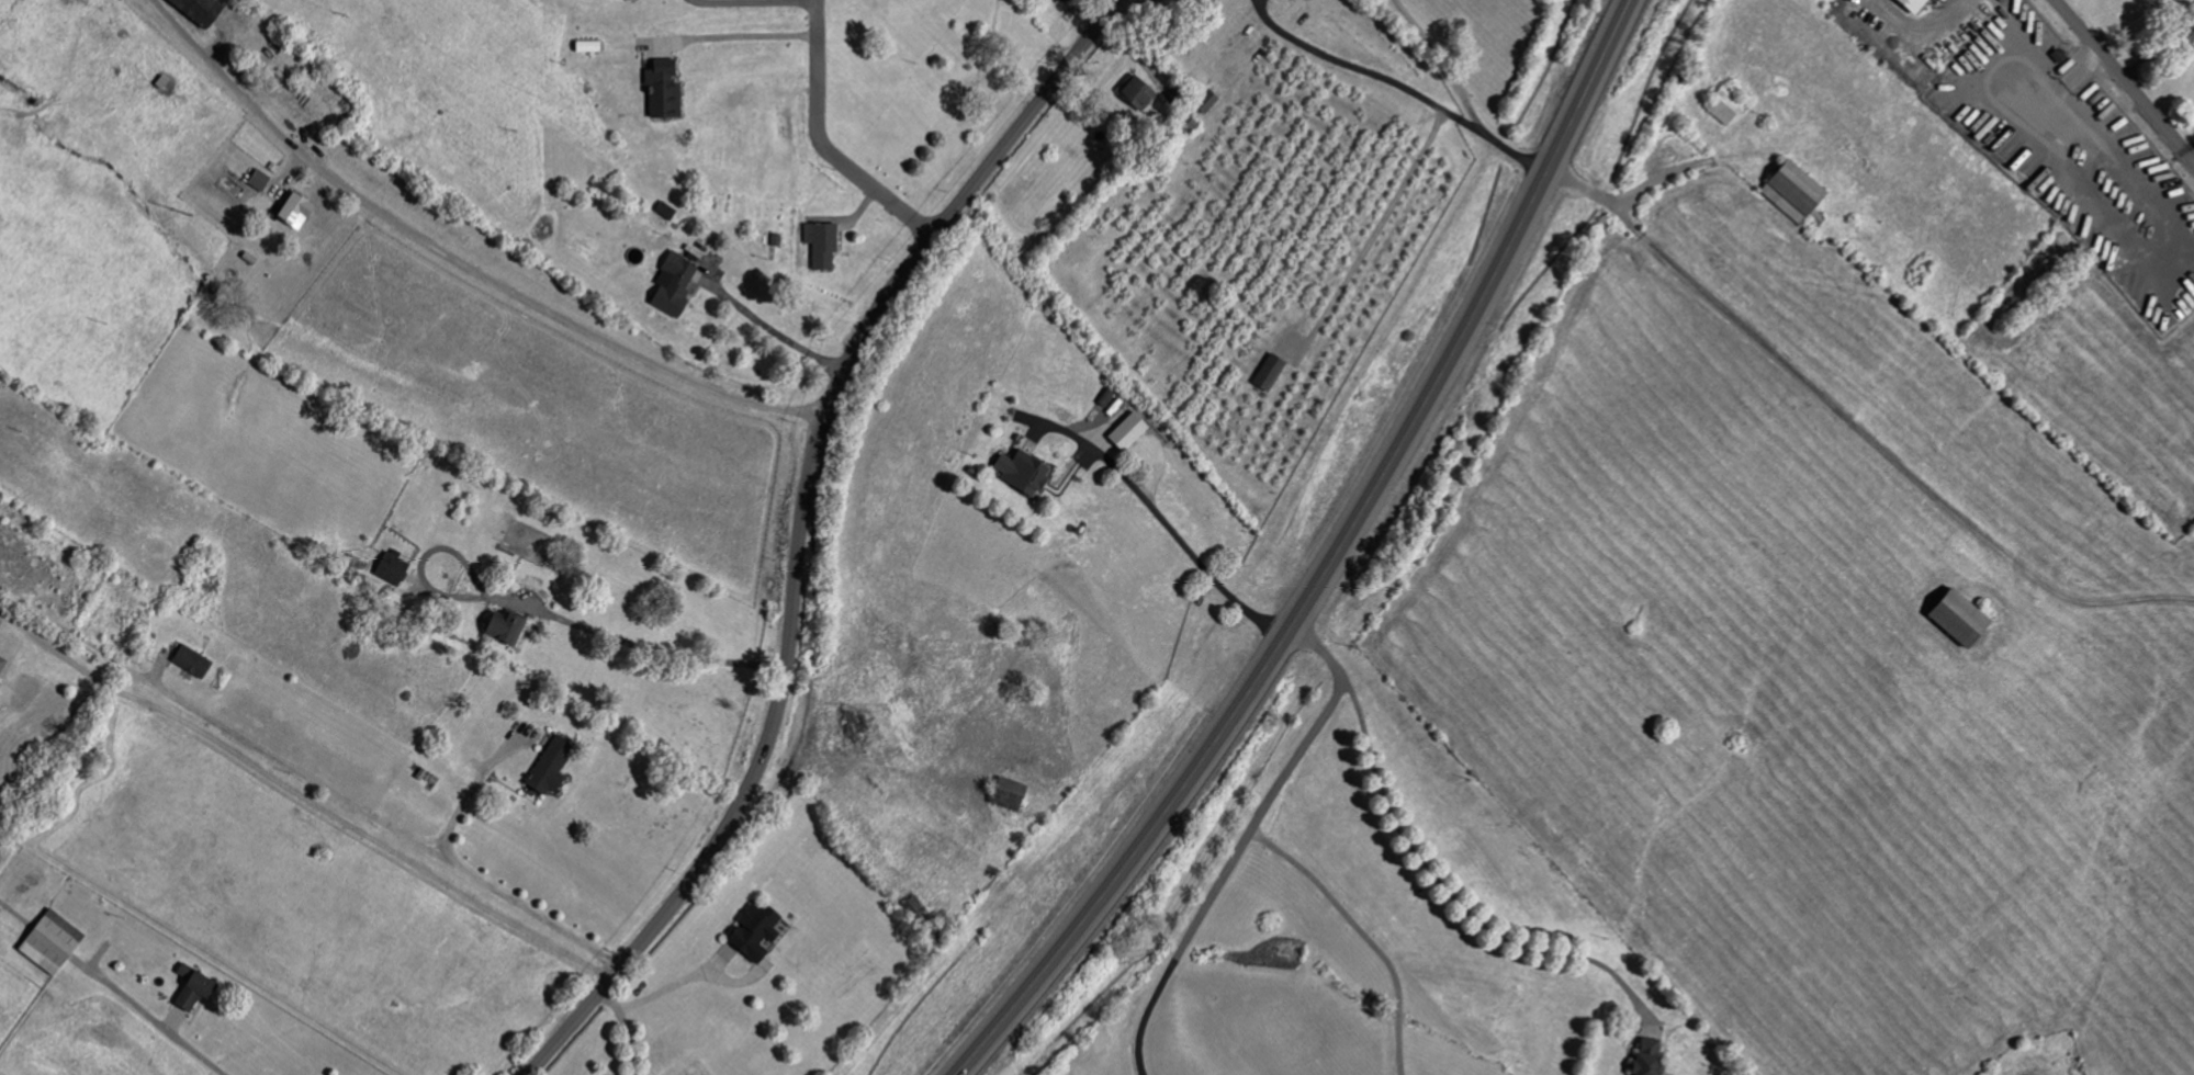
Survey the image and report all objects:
building: (1939, 0)
road: (750, 4)
building: (1909, 5)
building: (195, 11)
road: (1923, 29)
road: (731, 41)
road: (2156, 50)
road: (1364, 72)
road: (2125, 80)
building: (660, 90)
building: (1135, 94)
road: (1460, 97)
building: (1204, 102)
road: (821, 145)
building: (257, 181)
building: (1790, 191)
building: (292, 211)
building: (819, 245)
road: (459, 257)
building: (671, 284)
road: (768, 329)
building: (1267, 373)
road: (1855, 429)
building: (1125, 432)
building: (1023, 474)
road: (800, 527)
road: (1166, 531)
road: (1331, 562)
road: (543, 612)
building: (1957, 618)
building: (500, 629)
building: (1, 661)
building: (189, 663)
building: (548, 767)
building: (1005, 794)
road: (327, 815)
road: (1241, 840)
road: (1440, 889)
road: (500, 893)
building: (752, 932)
road: (1358, 933)
building: (48, 943)
road: (674, 984)
building: (190, 988)
road: (154, 1021)
road: (623, 1030)
building: (1645, 1057)

